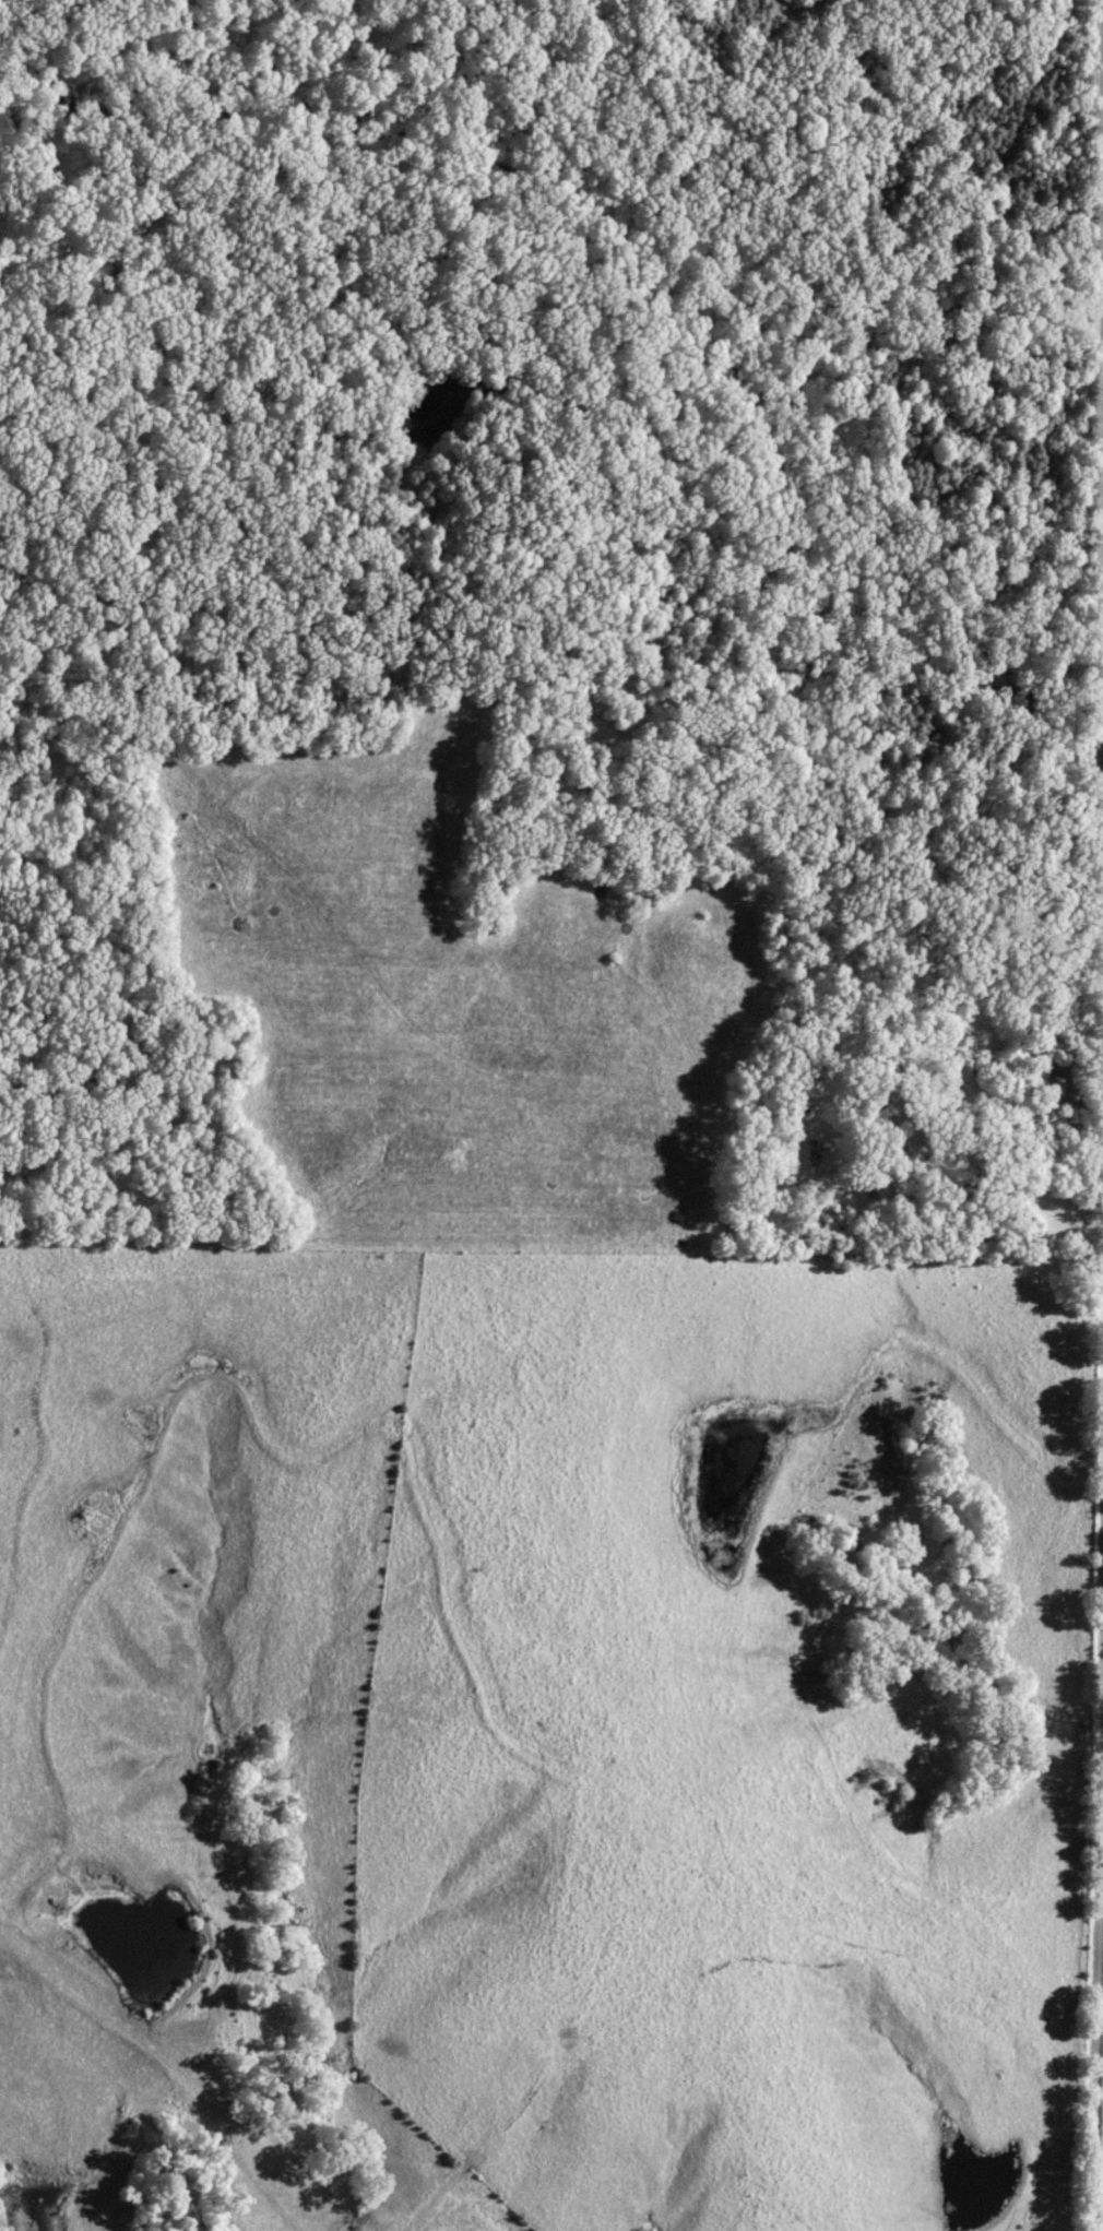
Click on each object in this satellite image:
road: (1099, 1915)

